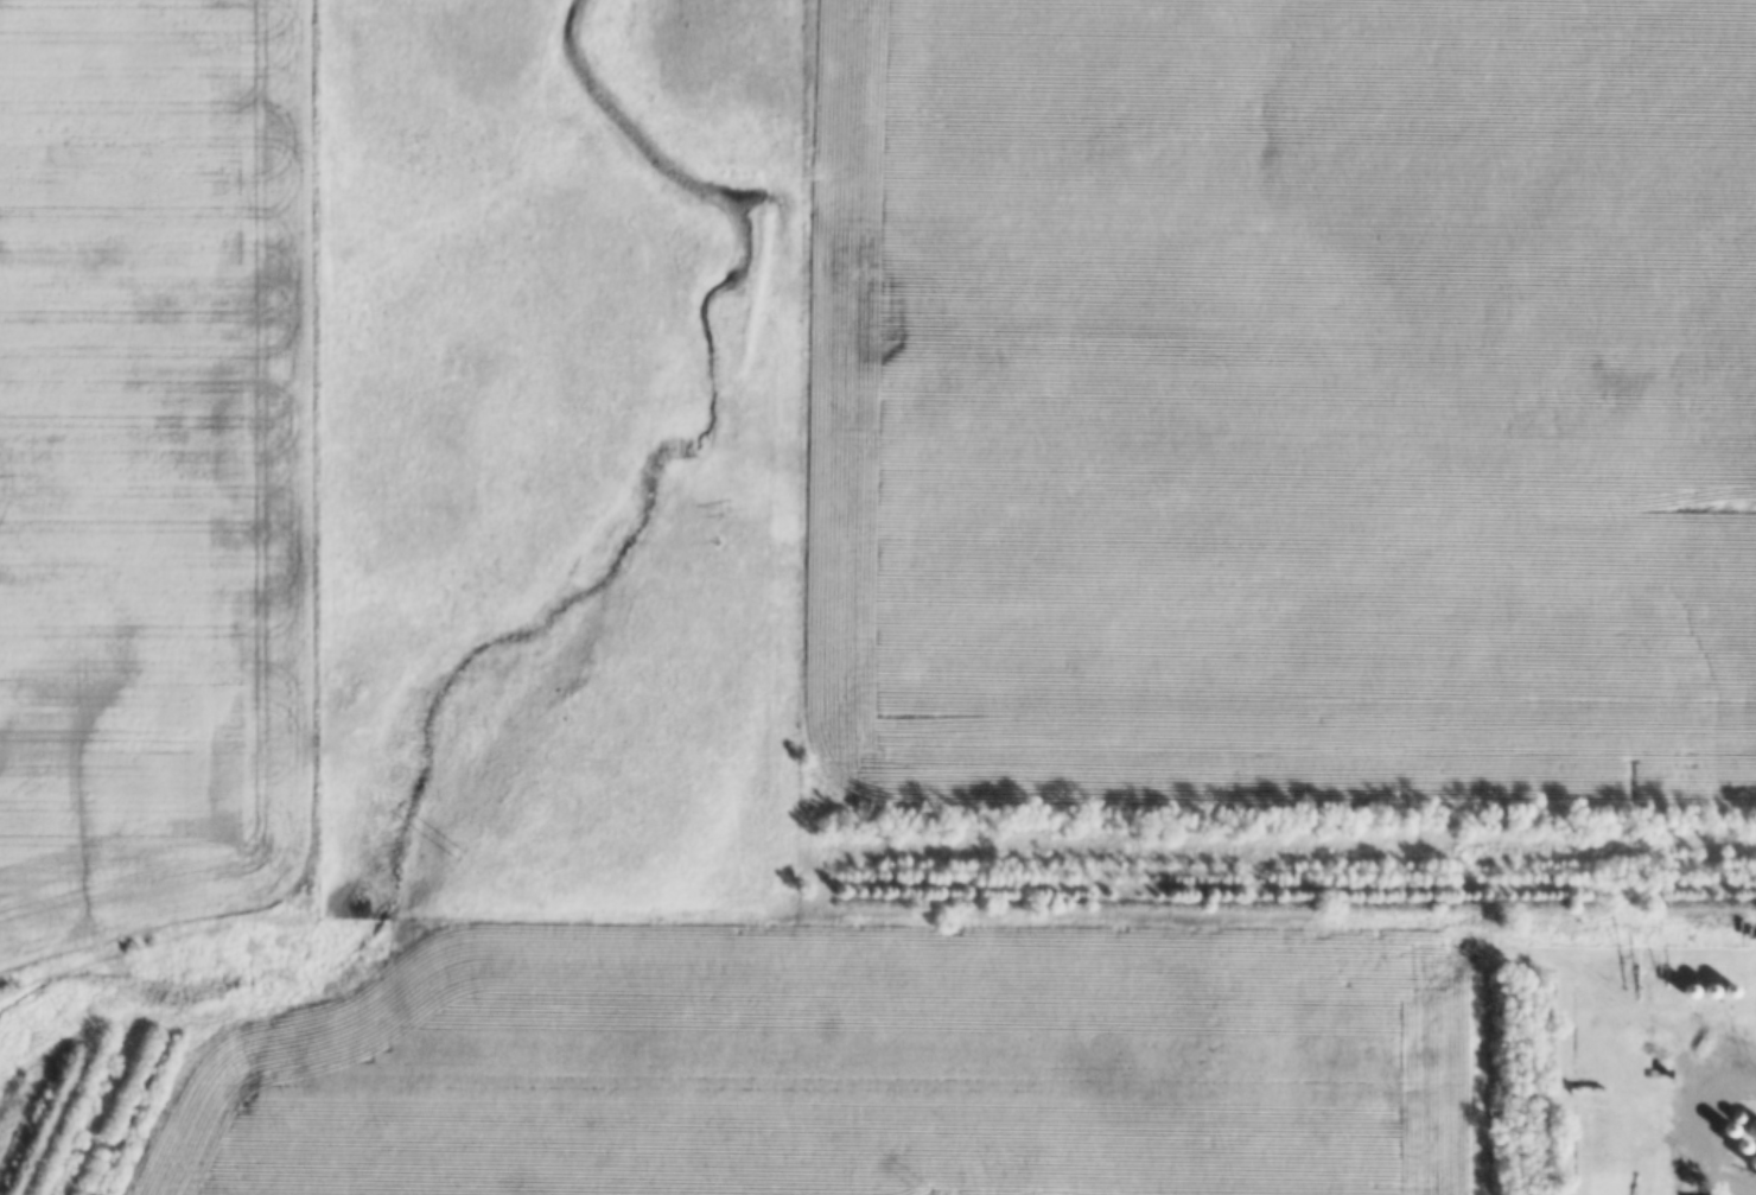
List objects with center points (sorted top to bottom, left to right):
power tower: (452, 850)
building: (1737, 1115)
silo: (1737, 1115)
building: (1728, 1130)
silo: (1728, 1130)
building: (1751, 1130)
silo: (1751, 1130)
building: (1742, 1146)
silo: (1742, 1146)
building: (1751, 1162)
silo: (1751, 1162)

